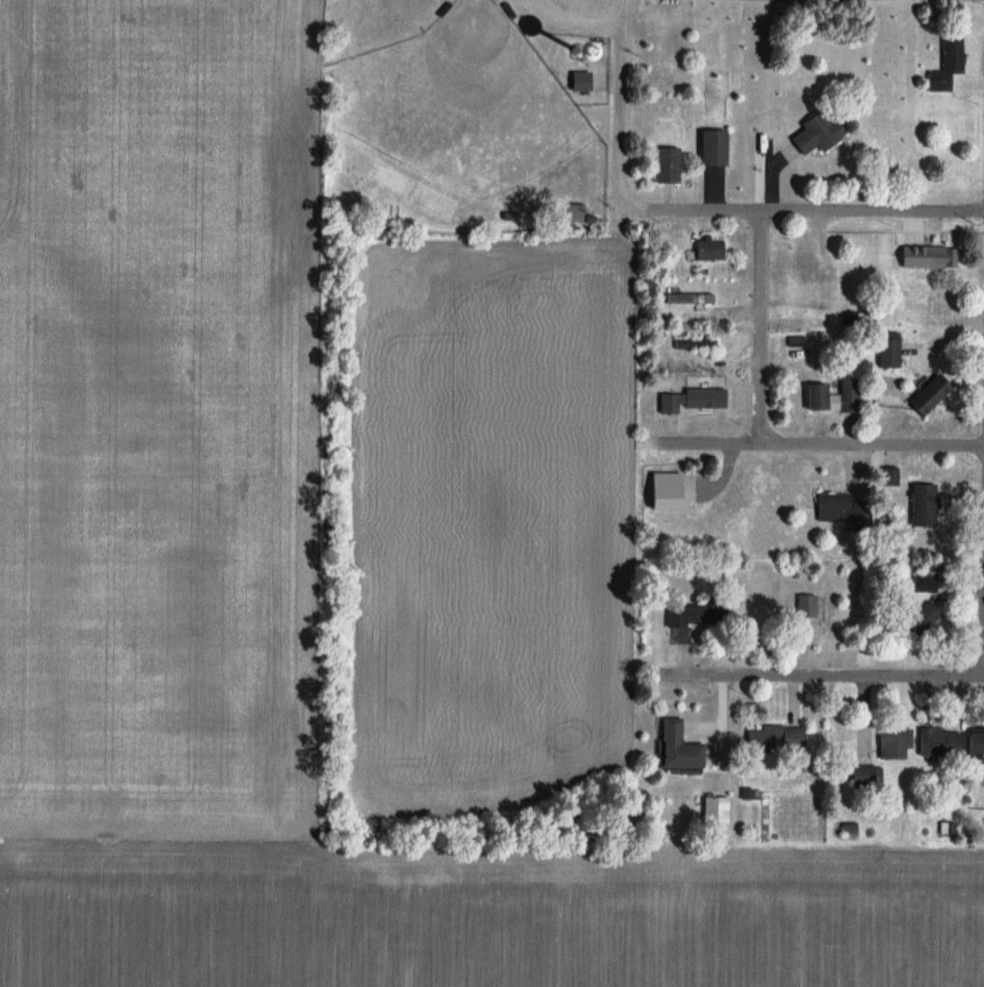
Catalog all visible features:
road: (574, 19)
water tower: (579, 52)
building: (947, 62)
building: (578, 81)
road: (618, 98)
park: (464, 102)
building: (815, 132)
building: (711, 147)
building: (665, 164)
road: (803, 209)
building: (564, 212)
building: (708, 249)
building: (940, 257)
building: (689, 298)
building: (942, 307)
road: (760, 324)
building: (693, 343)
building: (885, 352)
building: (928, 395)
building: (832, 397)
building: (691, 400)
road: (823, 441)
building: (888, 476)
building: (663, 491)
building: (921, 501)
building: (839, 509)
building: (923, 582)
building: (805, 605)
building: (690, 619)
building: (920, 620)
road: (808, 678)
building: (774, 737)
building: (893, 742)
building: (938, 742)
building: (676, 747)
building: (974, 747)
building: (865, 774)
building: (714, 813)

